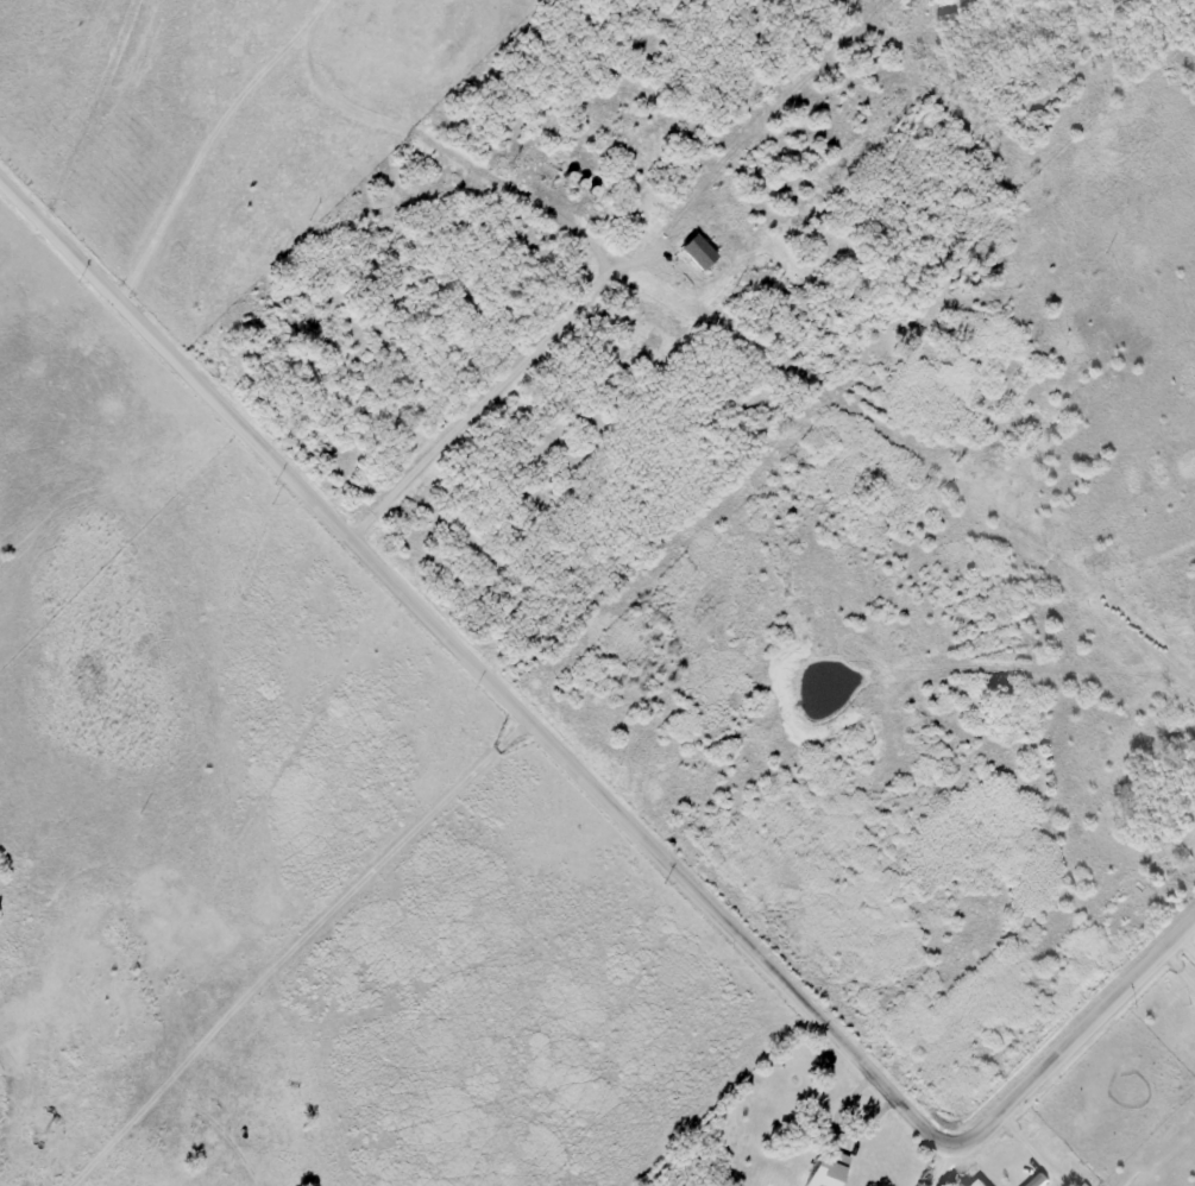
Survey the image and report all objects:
road: (102, 96)
building: (696, 251)
road: (589, 774)
road: (872, 908)
road: (847, 932)
road: (829, 939)
road: (935, 1160)
building: (823, 1171)
building: (981, 1182)

